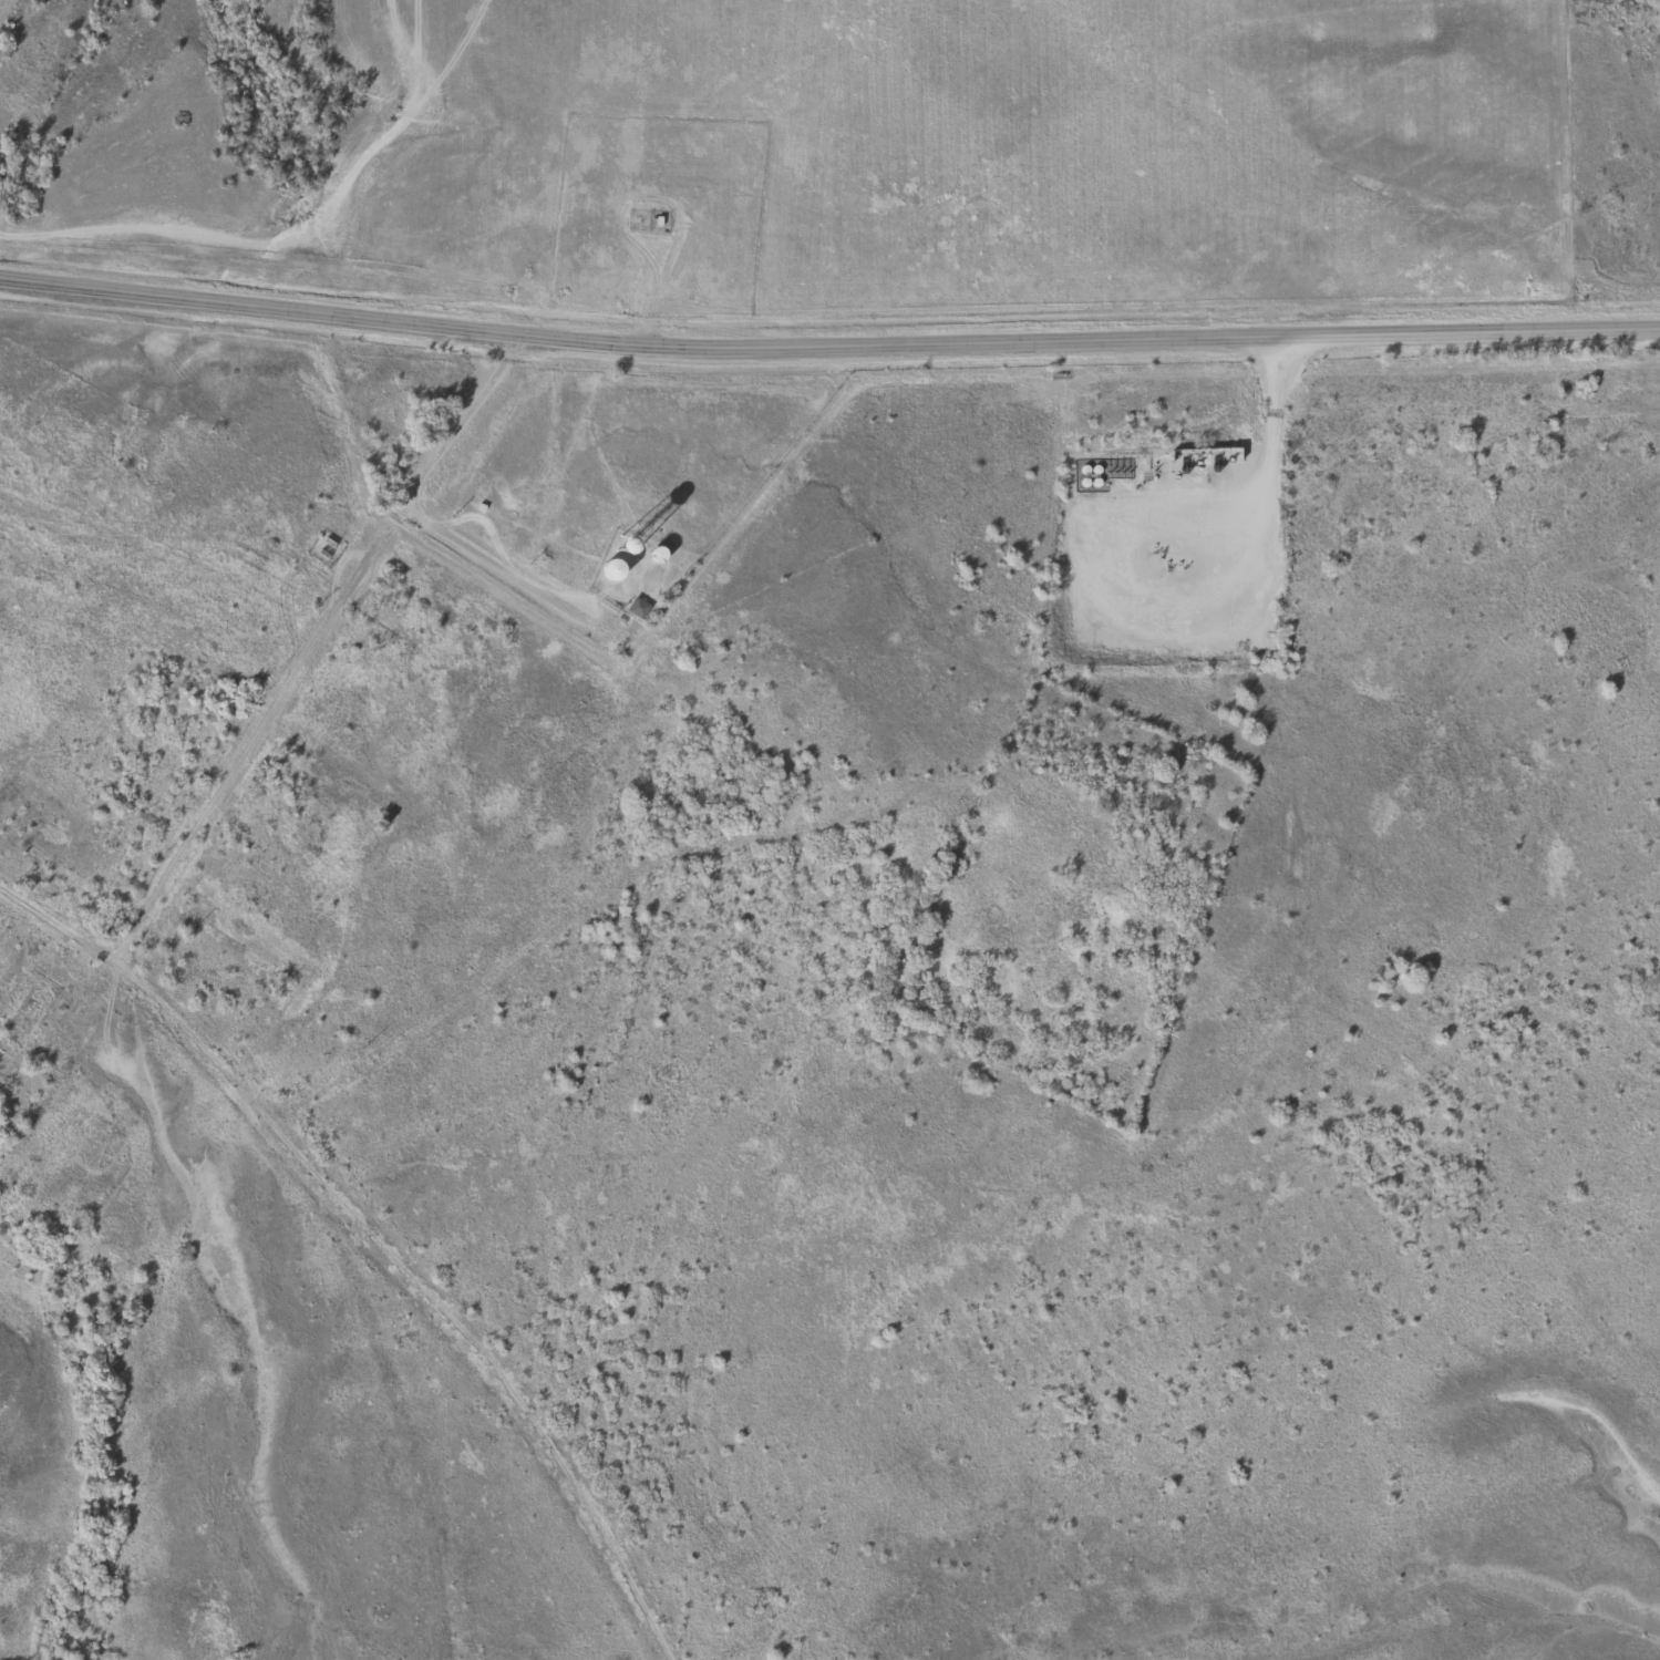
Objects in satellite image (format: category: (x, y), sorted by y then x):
road: (827, 342)
road: (1250, 485)
building: (626, 544)
building: (656, 554)
road: (497, 568)
building: (611, 569)
building: (636, 607)
road: (316, 641)
road: (59, 921)
road: (422, 1288)

